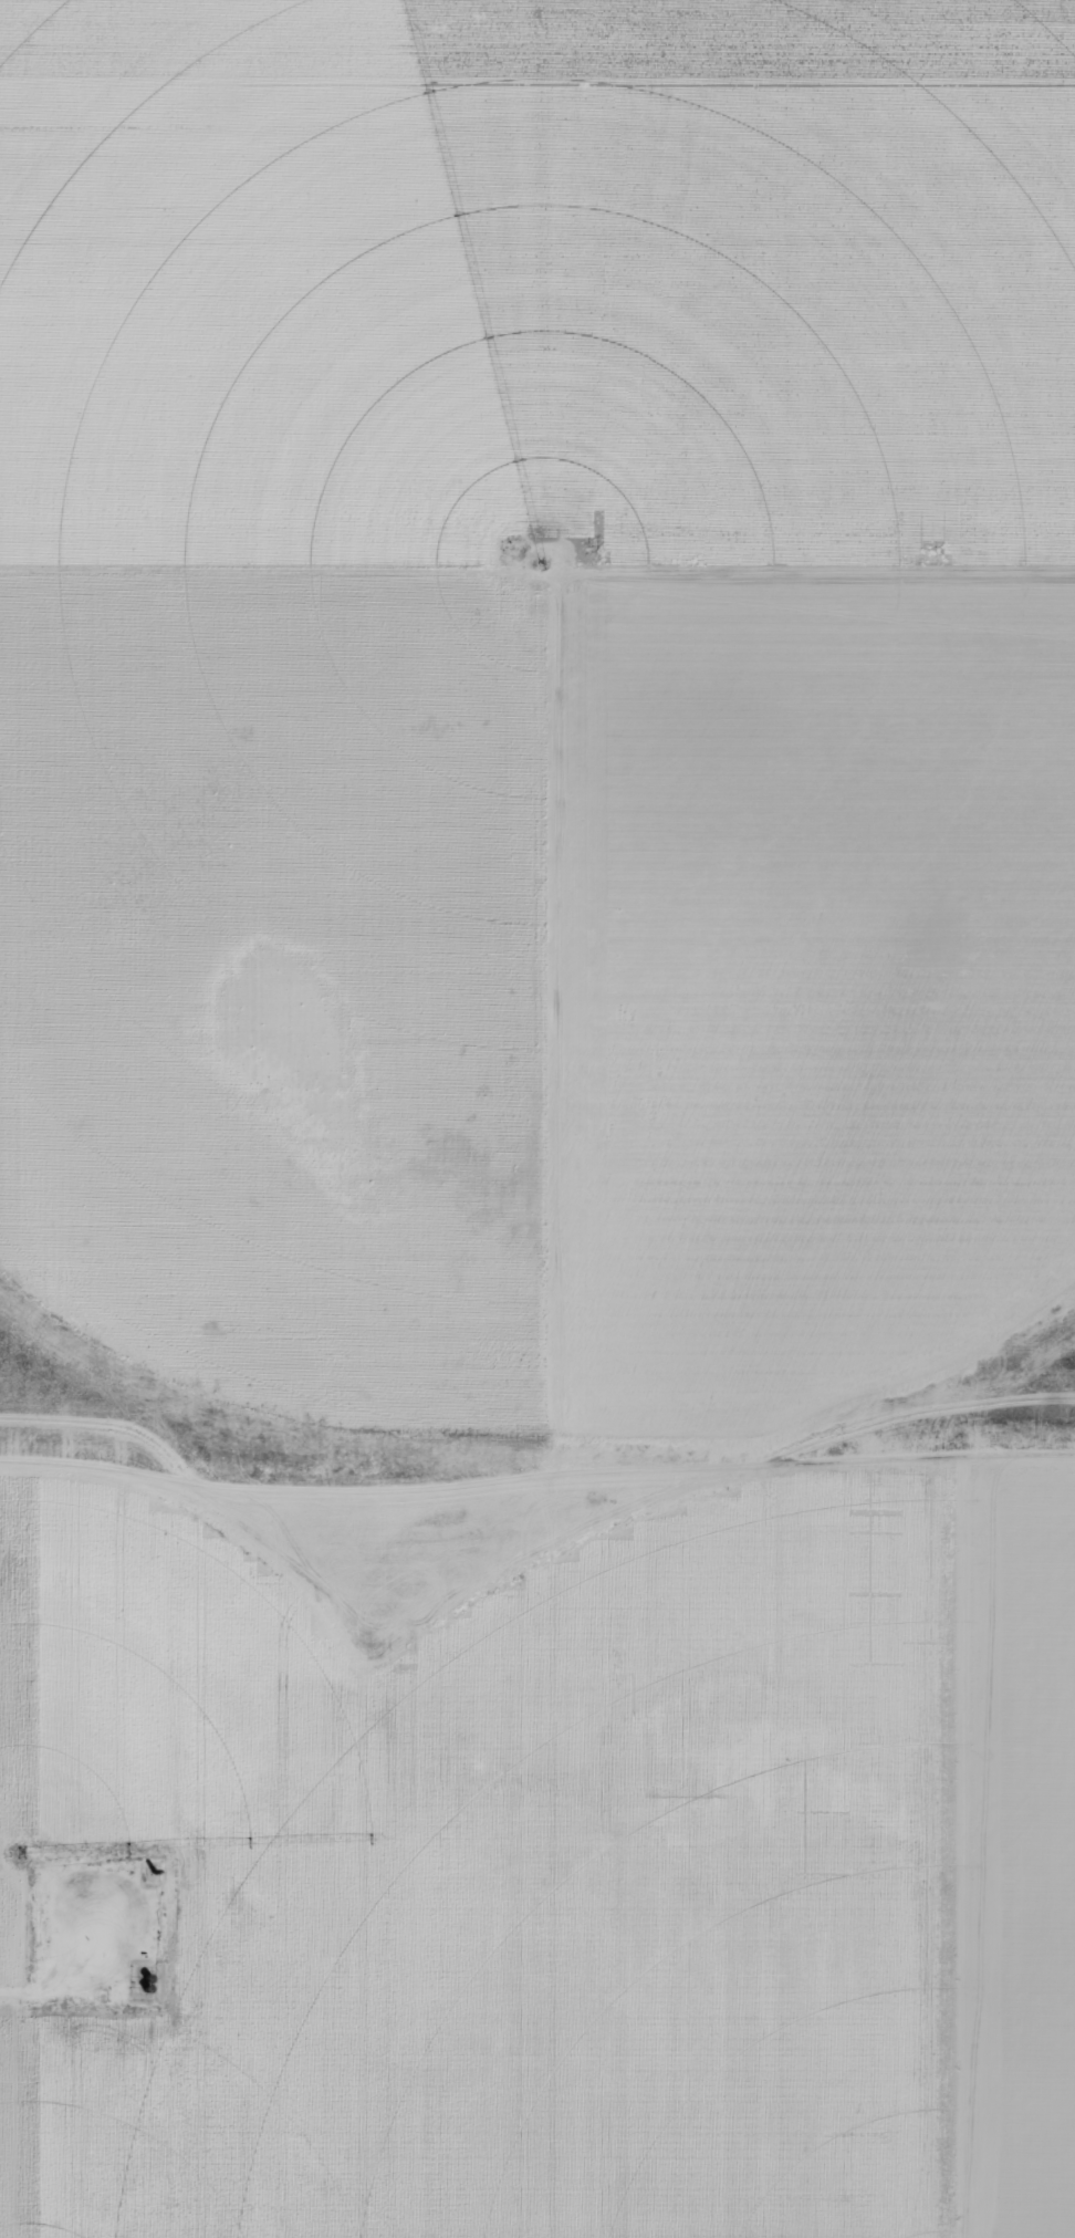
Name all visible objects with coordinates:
road: (40, 2003)

